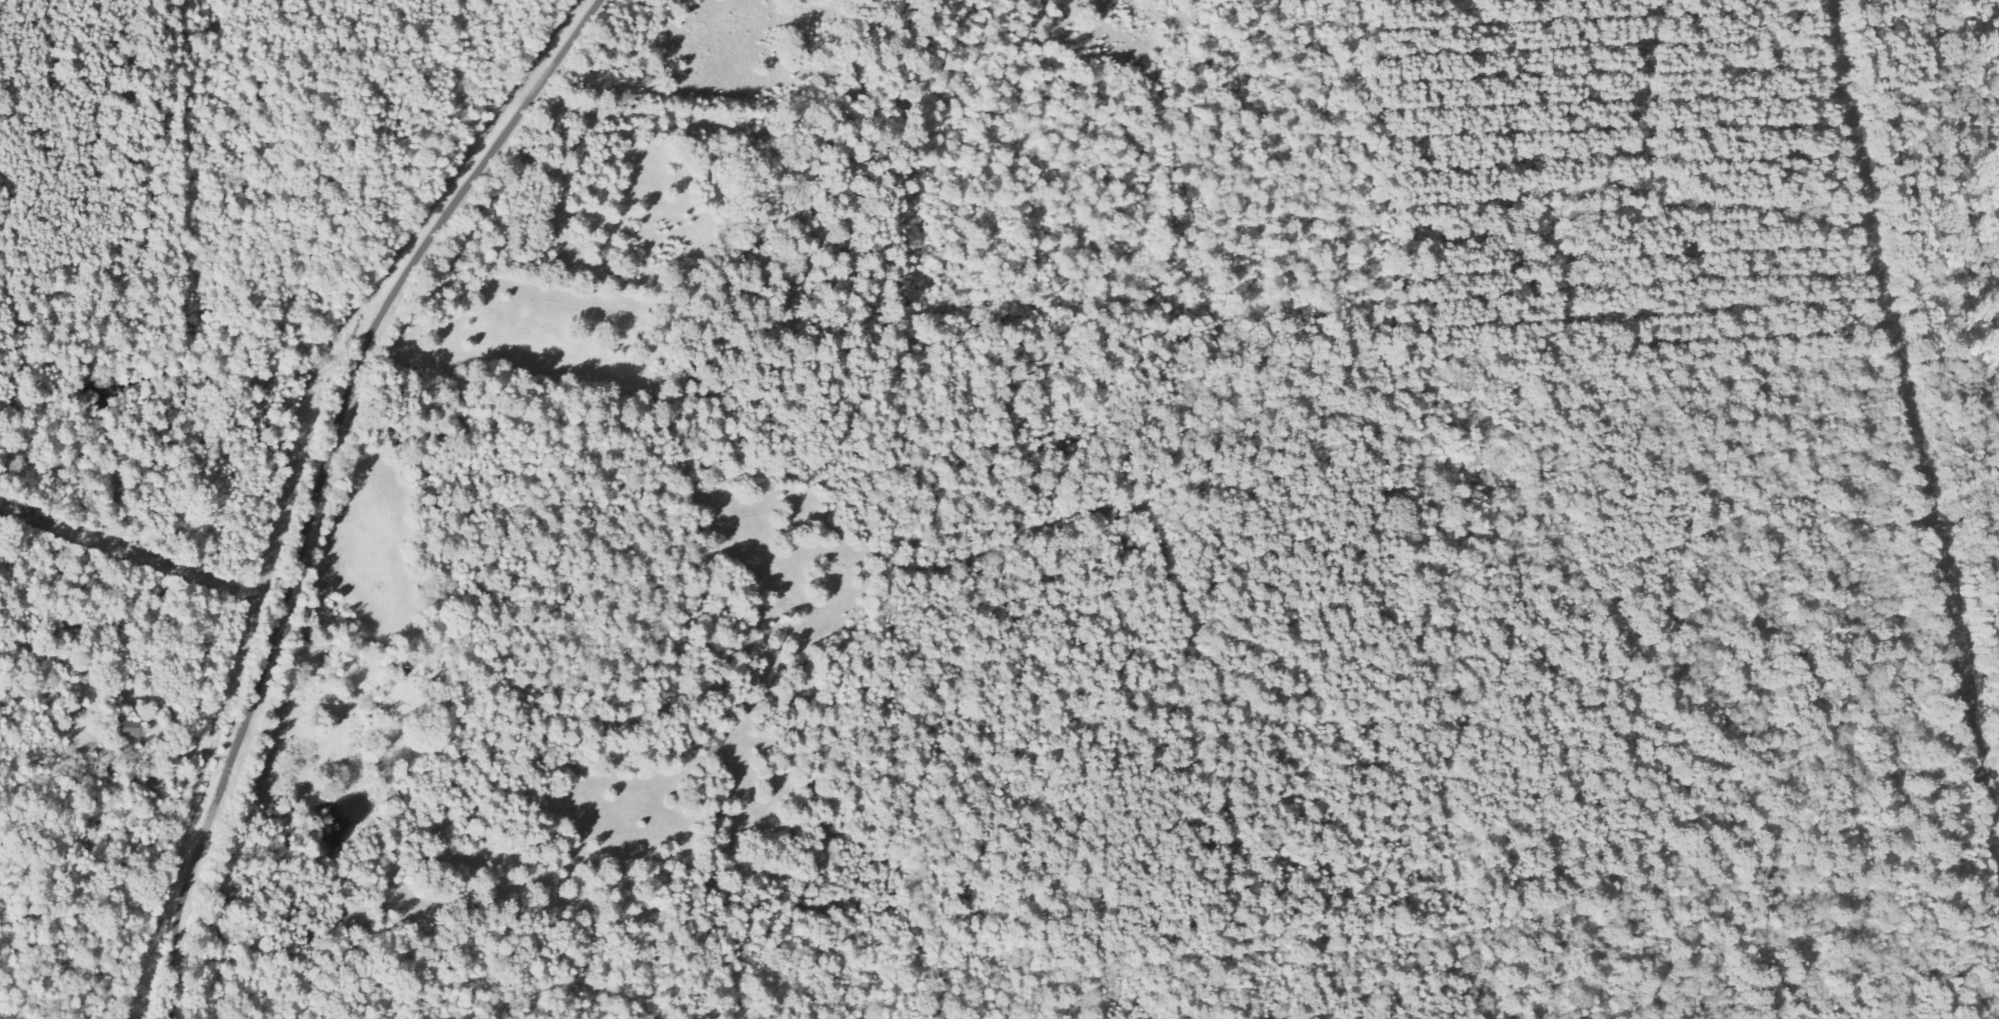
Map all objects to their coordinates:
road: (314, 480)
building: (133, 728)

